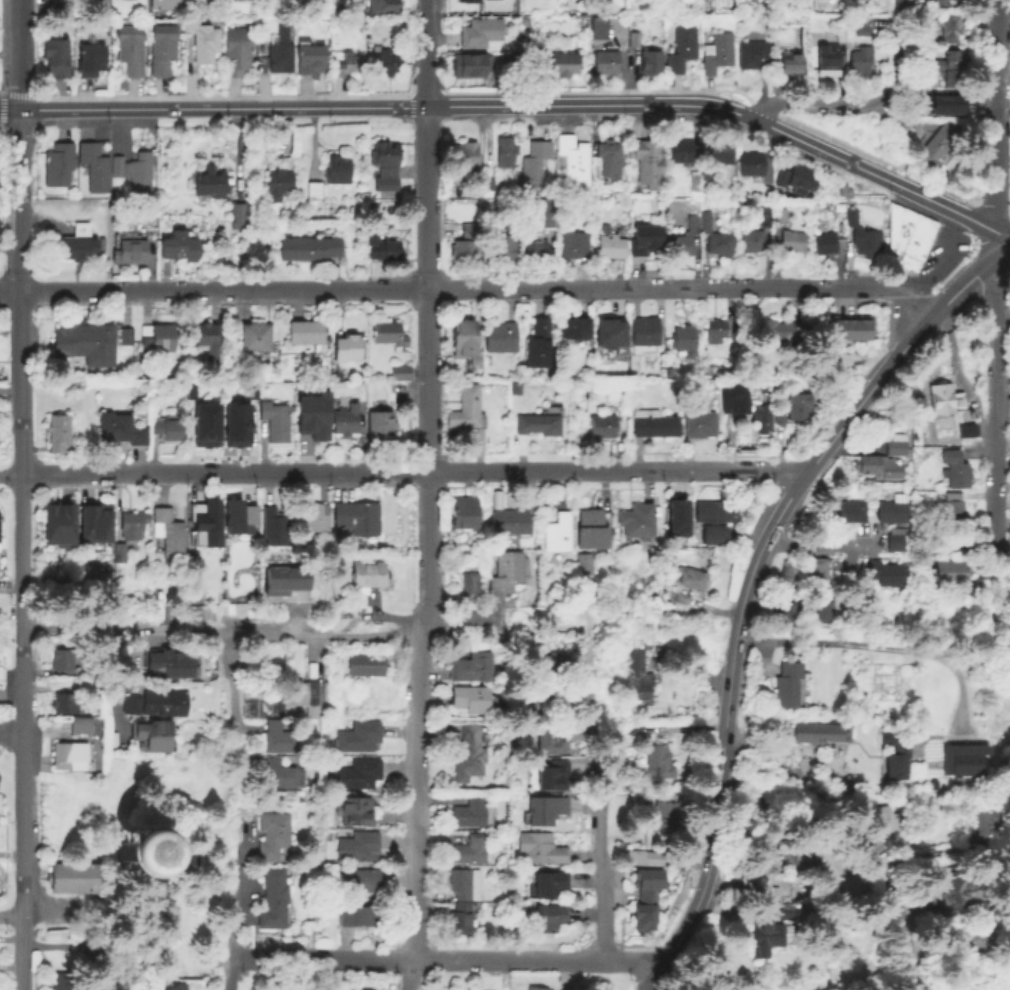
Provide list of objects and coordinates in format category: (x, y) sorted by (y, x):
building: (464, 0)
building: (826, 1)
building: (940, 2)
building: (165, 3)
building: (383, 6)
building: (58, 8)
building: (928, 16)
building: (595, 28)
building: (949, 28)
building: (858, 29)
building: (261, 31)
building: (481, 31)
building: (837, 35)
building: (201, 41)
building: (630, 41)
road: (897, 46)
building: (162, 51)
building: (677, 51)
building: (129, 52)
road: (427, 52)
building: (279, 53)
building: (713, 53)
road: (19, 54)
building: (236, 54)
building: (749, 55)
building: (56, 58)
building: (856, 58)
building: (823, 59)
building: (309, 60)
building: (516, 60)
building: (90, 62)
building: (550, 62)
building: (384, 64)
building: (602, 64)
building: (785, 64)
building: (348, 66)
building: (646, 66)
building: (471, 67)
building: (950, 69)
road: (579, 103)
building: (945, 103)
road: (812, 104)
road: (223, 106)
traffic signals: (4, 108)
road: (9, 108)
traffic signals: (36, 108)
road: (996, 115)
road: (877, 123)
building: (926, 149)
road: (427, 151)
building: (499, 152)
building: (676, 152)
building: (716, 153)
building: (465, 157)
road: (878, 157)
building: (569, 160)
building: (604, 161)
building: (641, 164)
building: (747, 164)
building: (530, 165)
building: (57, 166)
building: (384, 167)
building: (93, 168)
road: (860, 168)
building: (336, 172)
building: (134, 173)
building: (700, 176)
building: (792, 178)
building: (484, 182)
building: (690, 182)
building: (278, 183)
building: (208, 185)
building: (840, 191)
building: (312, 192)
road: (19, 199)
building: (841, 207)
building: (236, 211)
building: (547, 211)
building: (783, 214)
building: (765, 215)
building: (852, 216)
building: (705, 221)
building: (489, 224)
building: (471, 229)
building: (905, 236)
road: (996, 237)
building: (684, 238)
building: (645, 239)
building: (753, 240)
building: (792, 240)
building: (867, 241)
building: (79, 242)
building: (720, 242)
building: (825, 242)
road: (1006, 243)
building: (179, 245)
building: (574, 245)
building: (611, 245)
building: (382, 247)
building: (505, 248)
building: (536, 249)
building: (307, 250)
building: (465, 250)
building: (131, 251)
parking lot: (938, 256)
road: (932, 266)
road: (616, 288)
road: (871, 288)
road: (347, 289)
road: (395, 289)
road: (174, 290)
road: (10, 291)
road: (990, 314)
building: (572, 327)
building: (832, 327)
building: (858, 327)
building: (608, 330)
building: (645, 330)
building: (715, 330)
building: (777, 330)
building: (306, 332)
building: (389, 333)
building: (128, 335)
building: (255, 335)
building: (501, 335)
building: (463, 336)
building: (157, 337)
building: (684, 337)
building: (208, 340)
building: (538, 342)
building: (85, 343)
building: (349, 347)
building: (400, 371)
building: (188, 389)
building: (249, 389)
building: (733, 398)
building: (939, 399)
building: (794, 406)
building: (465, 407)
building: (315, 415)
building: (760, 417)
building: (346, 419)
building: (275, 421)
building: (539, 423)
building: (654, 423)
building: (701, 423)
building: (204, 424)
building: (234, 424)
building: (603, 425)
building: (380, 426)
building: (168, 427)
building: (120, 430)
building: (962, 432)
building: (56, 433)
building: (896, 445)
road: (991, 461)
building: (870, 465)
road: (455, 469)
road: (645, 469)
road: (375, 470)
building: (955, 470)
road: (281, 471)
road: (308, 471)
road: (237, 472)
road: (164, 473)
road: (72, 475)
road: (10, 476)
building: (850, 510)
building: (892, 510)
building: (953, 511)
building: (464, 512)
building: (677, 514)
building: (236, 516)
building: (358, 516)
building: (313, 517)
building: (715, 517)
building: (638, 519)
building: (57, 520)
building: (509, 520)
building: (206, 521)
building: (93, 522)
building: (133, 525)
building: (274, 526)
building: (589, 529)
building: (170, 531)
building: (559, 532)
building: (897, 541)
road: (815, 546)
building: (121, 552)
building: (584, 564)
building: (368, 572)
building: (816, 572)
building: (507, 573)
building: (951, 574)
building: (889, 577)
building: (282, 578)
road: (426, 578)
building: (692, 580)
building: (471, 581)
road: (745, 582)
building: (818, 608)
building: (790, 615)
road: (458, 617)
road: (222, 635)
road: (21, 640)
road: (877, 646)
building: (62, 657)
building: (551, 663)
building: (366, 664)
building: (166, 665)
building: (471, 665)
building: (638, 673)
building: (789, 682)
building: (303, 692)
road: (232, 697)
building: (471, 697)
building: (544, 698)
building: (62, 702)
building: (155, 702)
building: (312, 711)
building: (81, 724)
building: (633, 726)
road: (10, 731)
building: (820, 733)
building: (152, 734)
building: (278, 736)
building: (359, 736)
building: (553, 736)
building: (896, 751)
building: (469, 753)
building: (69, 754)
building: (967, 755)
building: (658, 759)
building: (277, 773)
building: (359, 773)
building: (554, 773)
road: (133, 785)
road: (600, 800)
building: (546, 808)
building: (355, 811)
building: (470, 811)
building: (664, 812)
building: (885, 815)
building: (981, 816)
building: (272, 834)
park: (137, 837)
road: (854, 838)
road: (213, 844)
building: (359, 846)
building: (540, 847)
building: (469, 850)
building: (141, 852)
water tower: (146, 854)
building: (795, 854)
building: (643, 857)
building: (73, 877)
building: (360, 879)
road: (136, 880)
building: (550, 882)
building: (464, 883)
building: (954, 886)
building: (768, 891)
building: (273, 897)
building: (649, 898)
building: (783, 908)
road: (10, 914)
building: (354, 915)
building: (550, 916)
building: (460, 917)
building: (855, 917)
road: (234, 924)
building: (764, 931)
building: (966, 937)
road: (445, 959)
road: (408, 974)
building: (64, 980)
building: (163, 987)
building: (539, 988)
building: (270, 989)
building: (343, 989)

